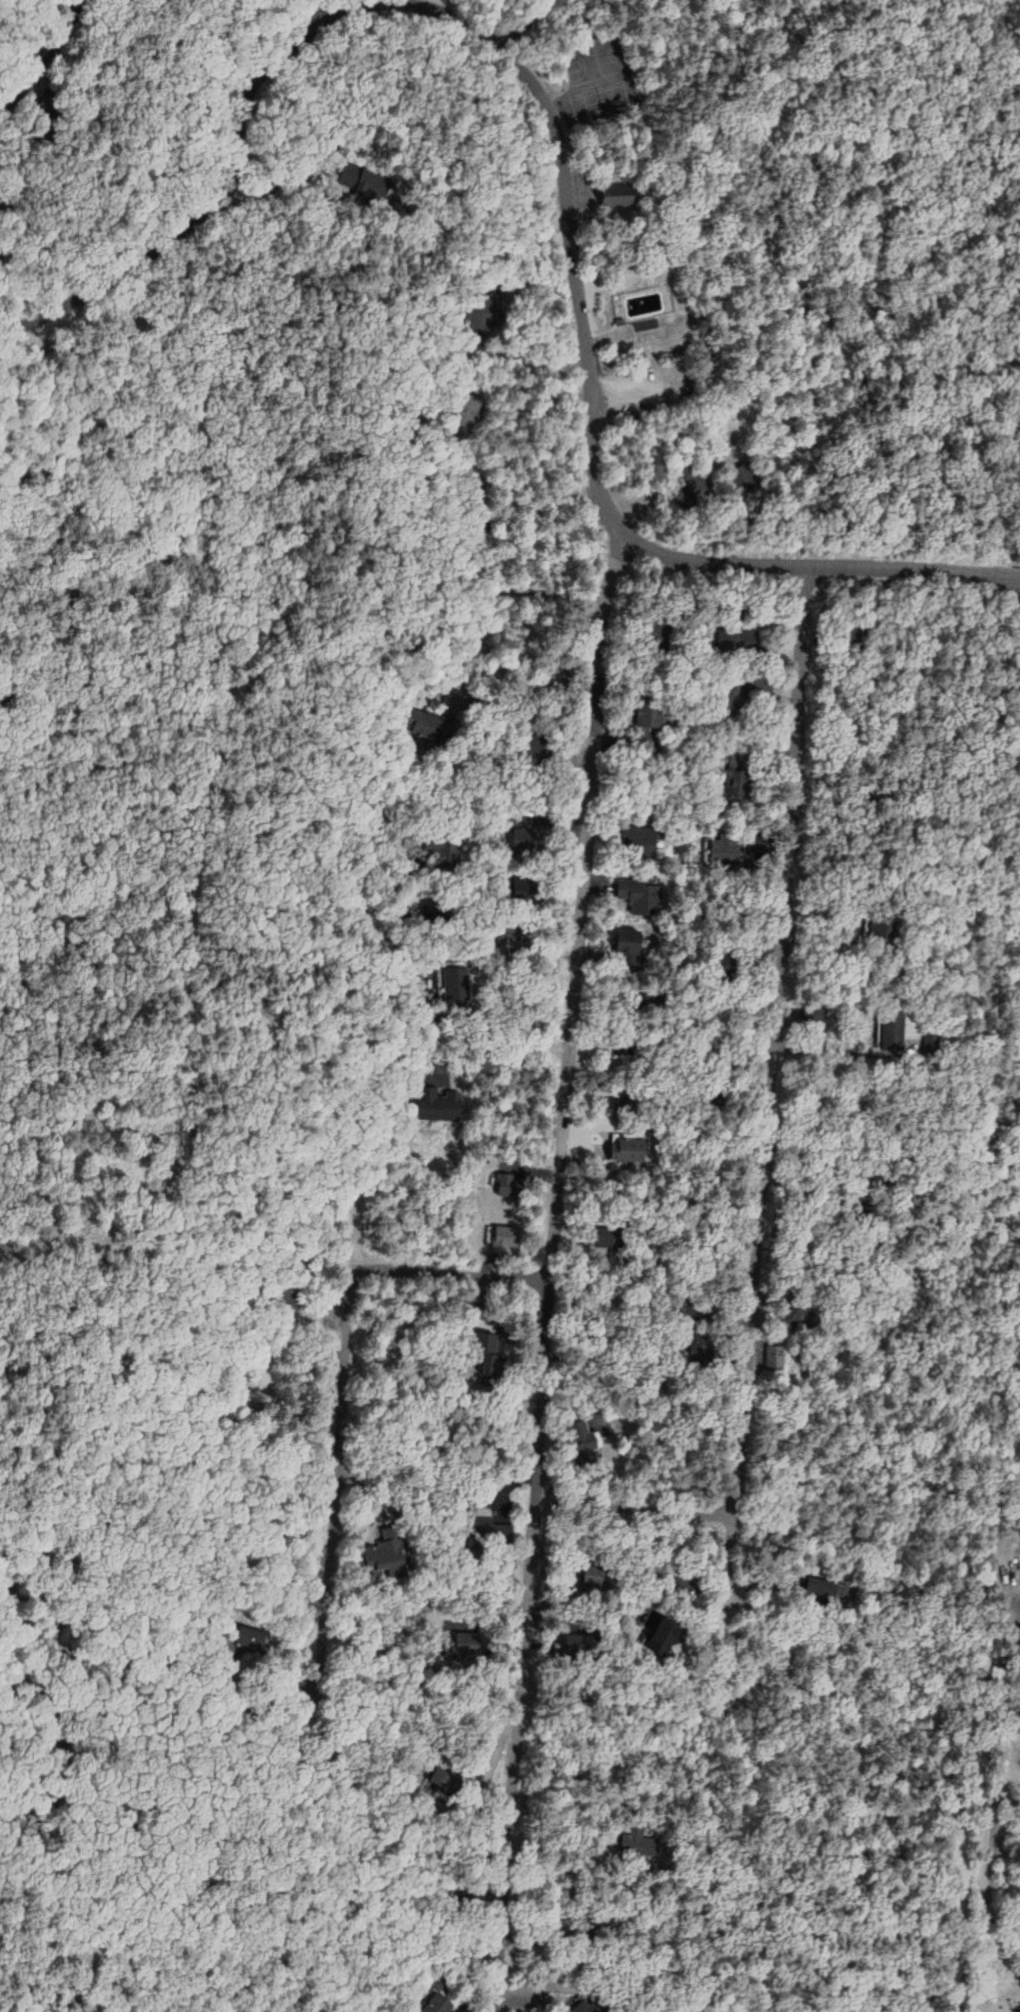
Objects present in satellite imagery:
road: (28, 41)
road: (1011, 83)
road: (198, 196)
road: (558, 254)
road: (815, 557)
road: (422, 696)
building: (644, 716)
building: (642, 841)
building: (725, 849)
building: (639, 894)
building: (880, 930)
building: (629, 940)
road: (590, 961)
road: (618, 964)
road: (762, 1027)
building: (888, 1032)
road: (537, 1271)
road: (332, 1384)
road: (627, 1498)
building: (386, 1557)
road: (729, 1585)
building: (656, 1636)
road: (574, 1987)

